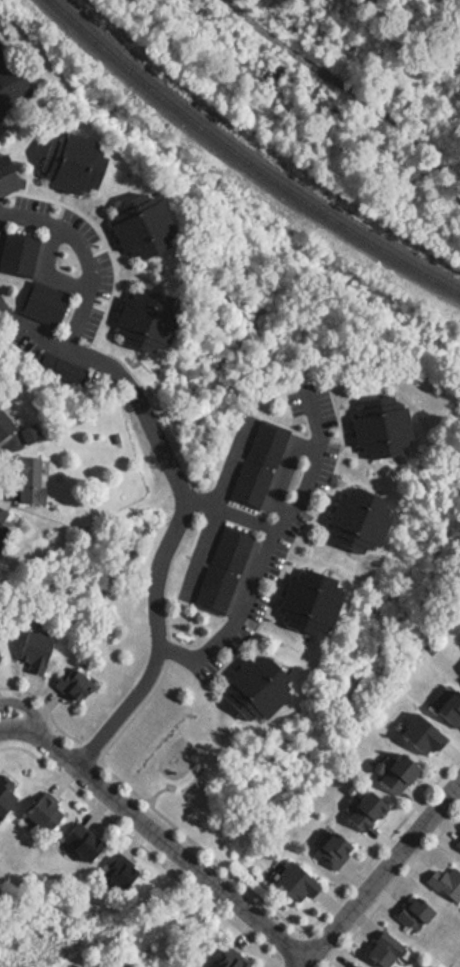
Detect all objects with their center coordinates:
road: (279, 35)
park: (332, 90)
building: (10, 91)
road: (398, 122)
railway: (243, 160)
building: (3, 166)
building: (19, 250)
parking lot: (98, 278)
building: (45, 301)
building: (130, 309)
road: (101, 320)
road: (28, 333)
building: (63, 366)
building: (3, 427)
building: (379, 427)
building: (31, 430)
road: (164, 457)
road: (230, 465)
building: (256, 465)
road: (311, 466)
building: (26, 480)
road: (189, 500)
building: (356, 521)
building: (1, 527)
road: (199, 552)
road: (281, 563)
building: (222, 570)
road: (165, 574)
road: (252, 575)
building: (307, 601)
building: (31, 650)
road: (166, 650)
building: (458, 675)
building: (67, 684)
building: (255, 688)
road: (43, 708)
building: (446, 708)
road: (26, 710)
road: (135, 714)
road: (16, 729)
building: (417, 736)
park: (167, 747)
road: (85, 753)
building: (392, 773)
building: (4, 790)
road: (156, 792)
building: (362, 813)
building: (38, 814)
building: (76, 842)
building: (457, 842)
road: (380, 844)
road: (168, 847)
road: (196, 848)
road: (141, 849)
building: (329, 851)
building: (113, 874)
road: (378, 874)
building: (290, 882)
building: (444, 882)
road: (392, 887)
building: (410, 914)
building: (378, 949)
road: (287, 952)
building: (229, 958)
building: (351, 966)

